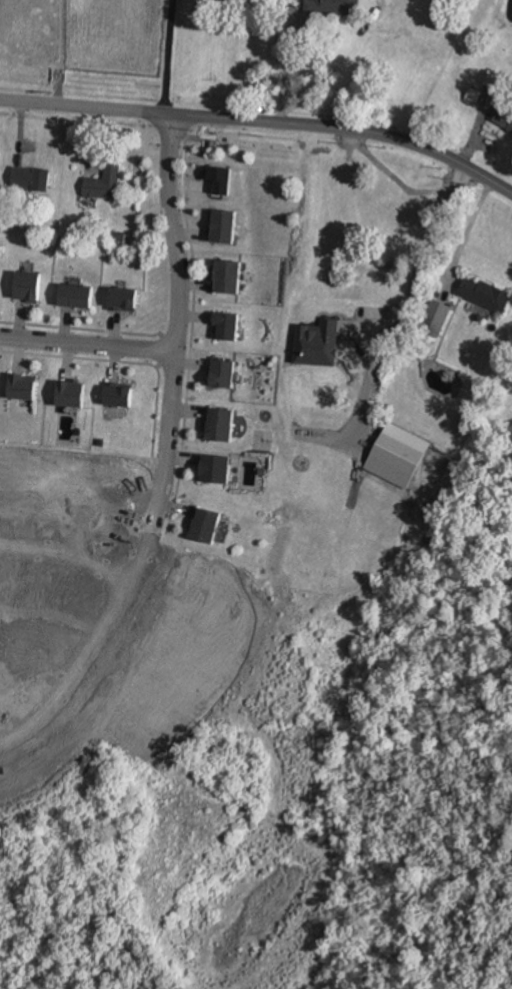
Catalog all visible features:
building: (249, 0)
building: (334, 7)
road: (170, 57)
road: (286, 72)
building: (496, 79)
building: (505, 118)
road: (262, 122)
building: (32, 179)
building: (105, 180)
building: (225, 225)
road: (472, 227)
building: (120, 236)
building: (229, 277)
building: (29, 286)
building: (486, 294)
building: (78, 295)
building: (125, 298)
road: (402, 303)
building: (437, 317)
road: (178, 323)
building: (227, 325)
road: (88, 342)
building: (319, 342)
building: (223, 371)
building: (23, 385)
building: (74, 394)
building: (119, 394)
building: (222, 424)
building: (100, 441)
building: (398, 455)
building: (217, 468)
building: (208, 524)
road: (91, 563)
road: (75, 666)

